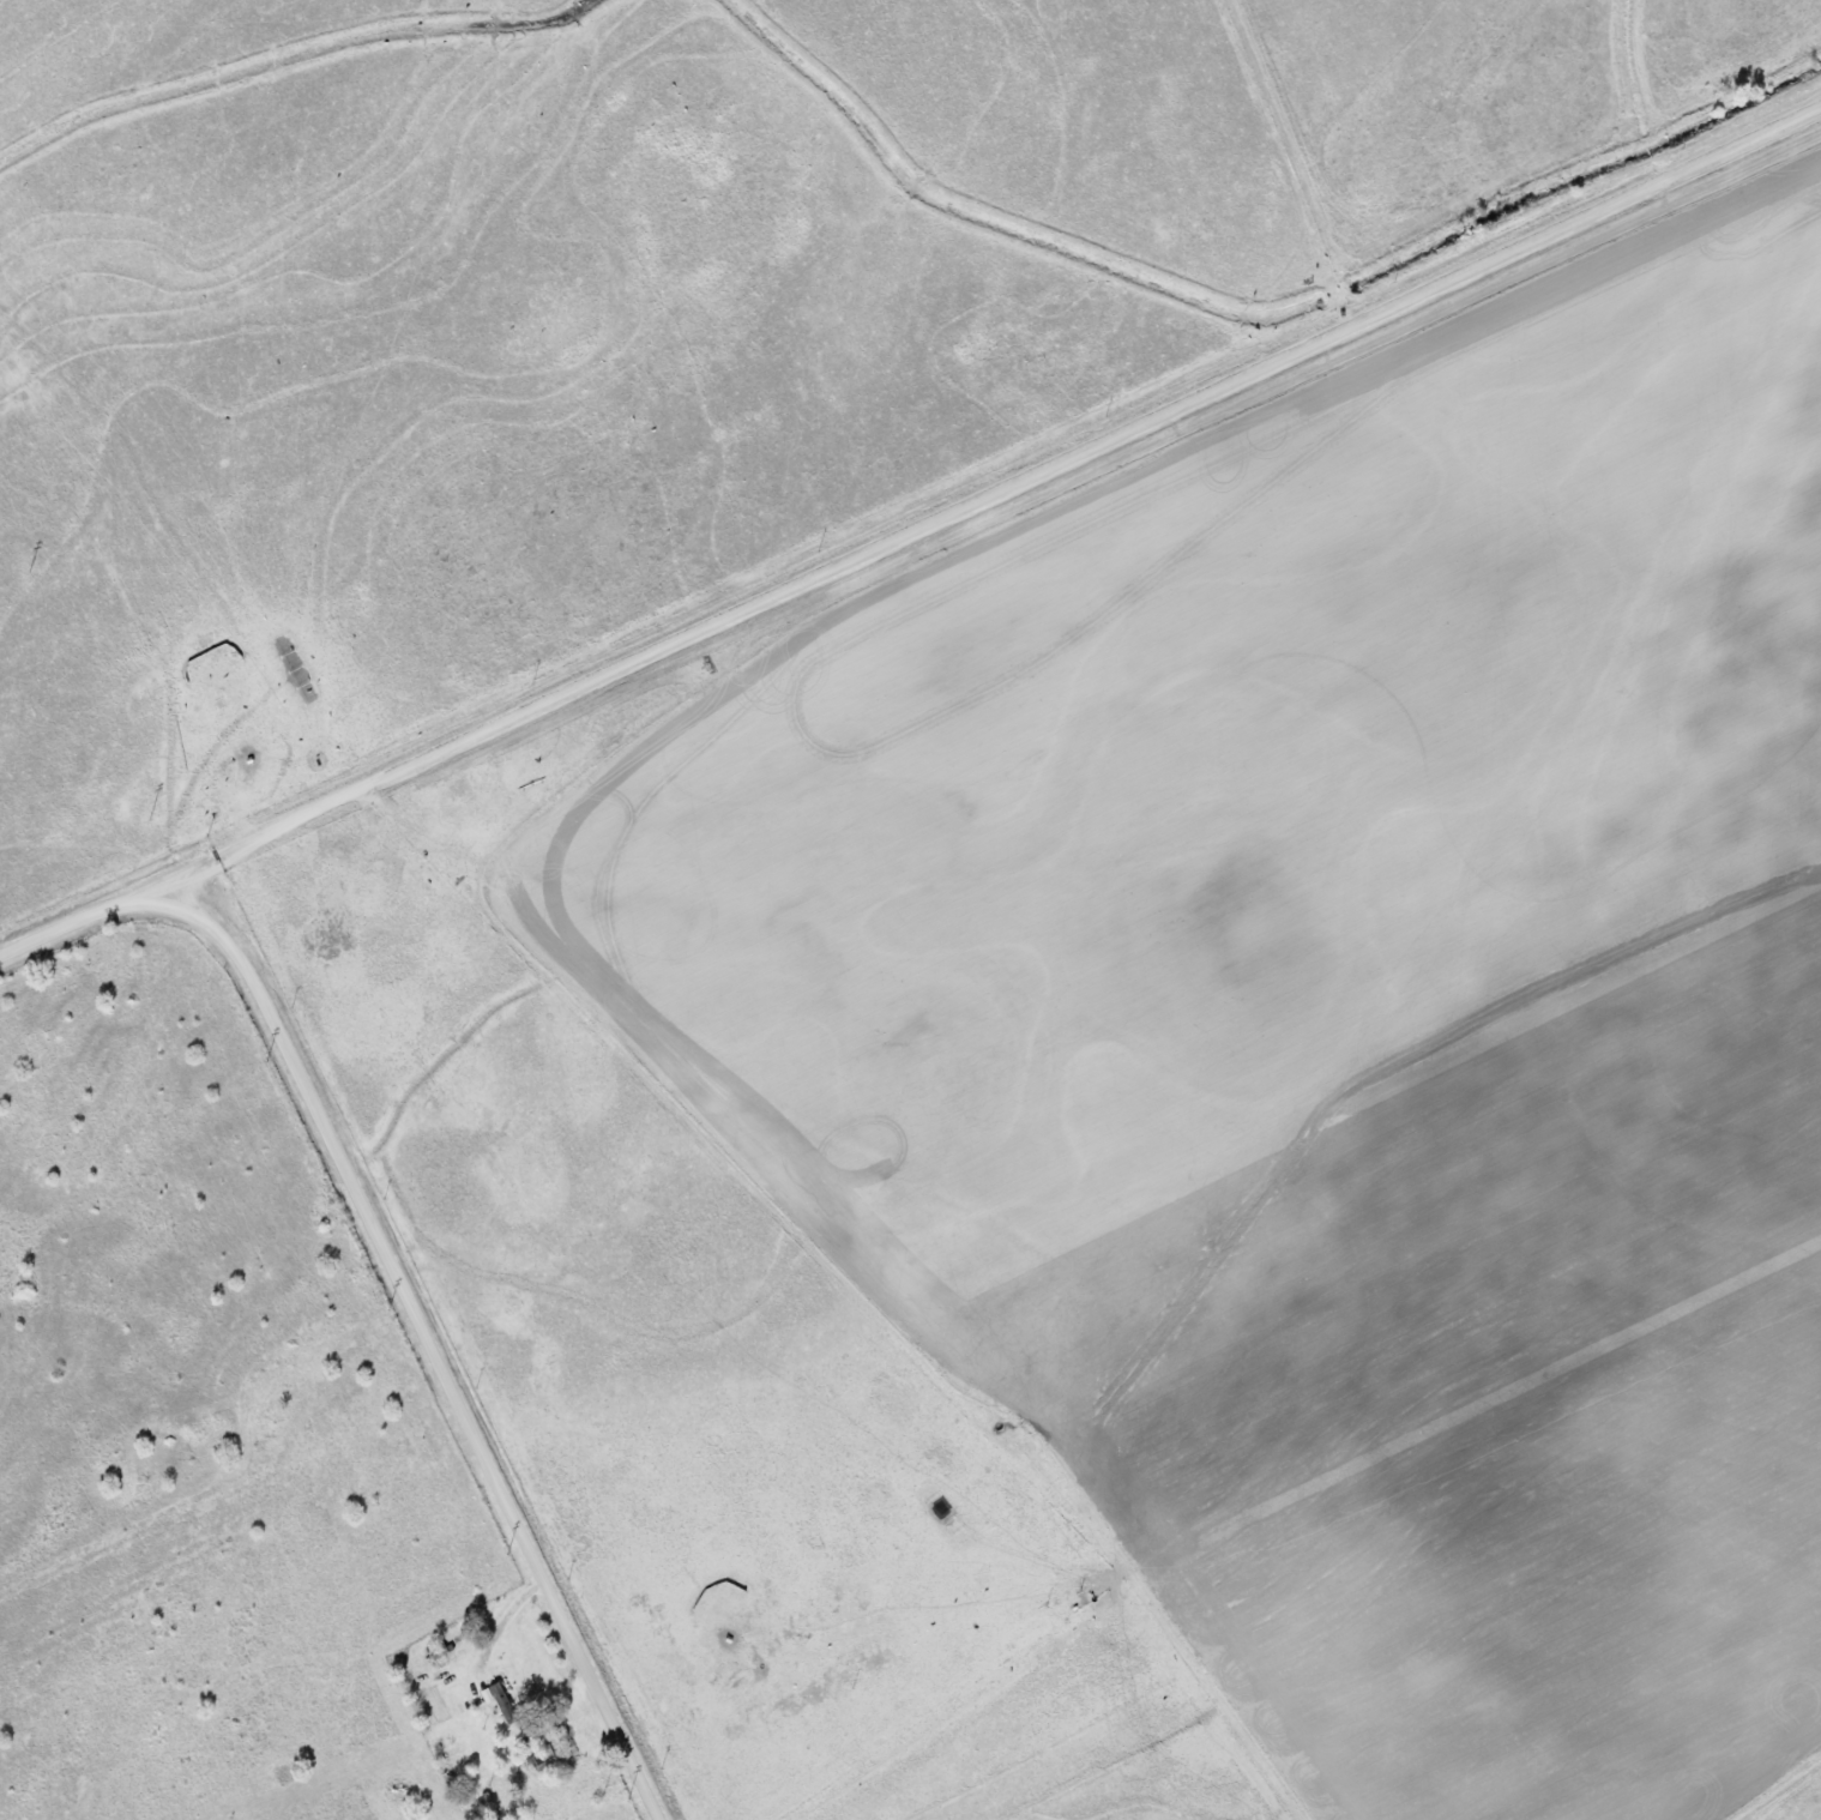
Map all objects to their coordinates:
road: (983, 487)
road: (388, 1267)
building: (498, 1703)
building: (541, 1755)

